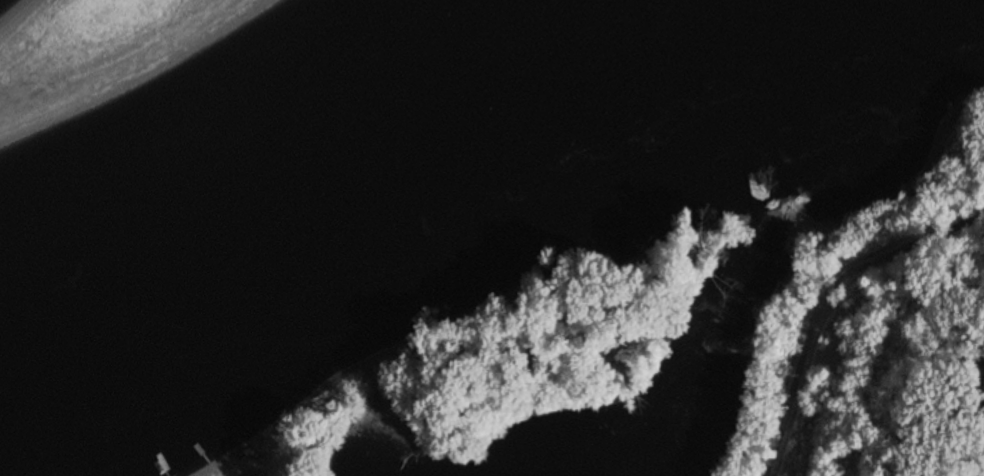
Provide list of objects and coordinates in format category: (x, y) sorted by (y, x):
river: (264, 139)
road: (824, 301)
park: (879, 324)
park: (303, 436)

